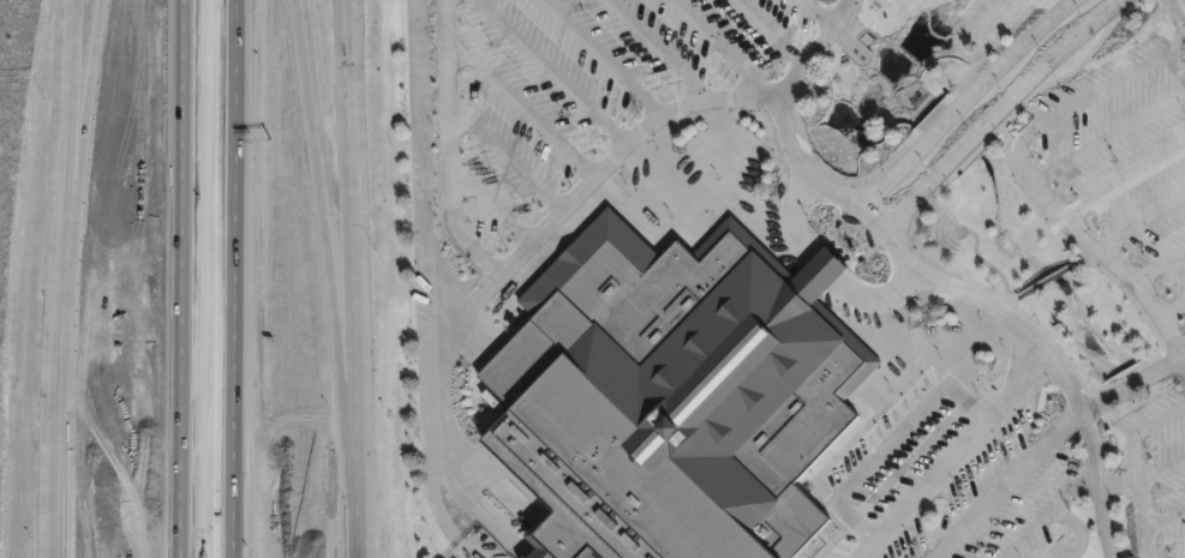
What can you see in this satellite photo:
road: (1163, 0)
road: (819, 13)
road: (1173, 18)
road: (767, 31)
road: (725, 49)
road: (1015, 49)
road: (653, 50)
road: (596, 59)
road: (1048, 62)
road: (70, 72)
road: (549, 72)
road: (1105, 88)
parking lot: (581, 92)
road: (519, 107)
road: (1017, 108)
road: (942, 120)
road: (1109, 138)
road: (449, 145)
road: (968, 148)
parking lot: (1126, 149)
road: (503, 155)
road: (893, 169)
road: (867, 179)
road: (1124, 182)
road: (580, 190)
road: (348, 193)
road: (922, 198)
road: (489, 204)
road: (792, 215)
road: (1142, 226)
road: (1090, 245)
road: (986, 264)
road: (914, 266)
road: (1159, 266)
road: (114, 278)
road: (154, 278)
road: (258, 278)
road: (1043, 278)
road: (430, 294)
road: (863, 296)
road: (1172, 311)
road: (53, 350)
road: (1181, 358)
road: (1143, 366)
road: (1023, 380)
building: (671, 396)
road: (1159, 422)
road: (890, 443)
parking lot: (957, 467)
parking lot: (1157, 470)
road: (1161, 470)
road: (352, 473)
road: (1096, 482)
road: (929, 484)
road: (1118, 486)
road: (1012, 488)
road: (1139, 498)
road: (438, 509)
road: (1051, 512)
road: (1165, 520)
road: (1076, 530)
parking lot: (475, 546)
road: (526, 557)

